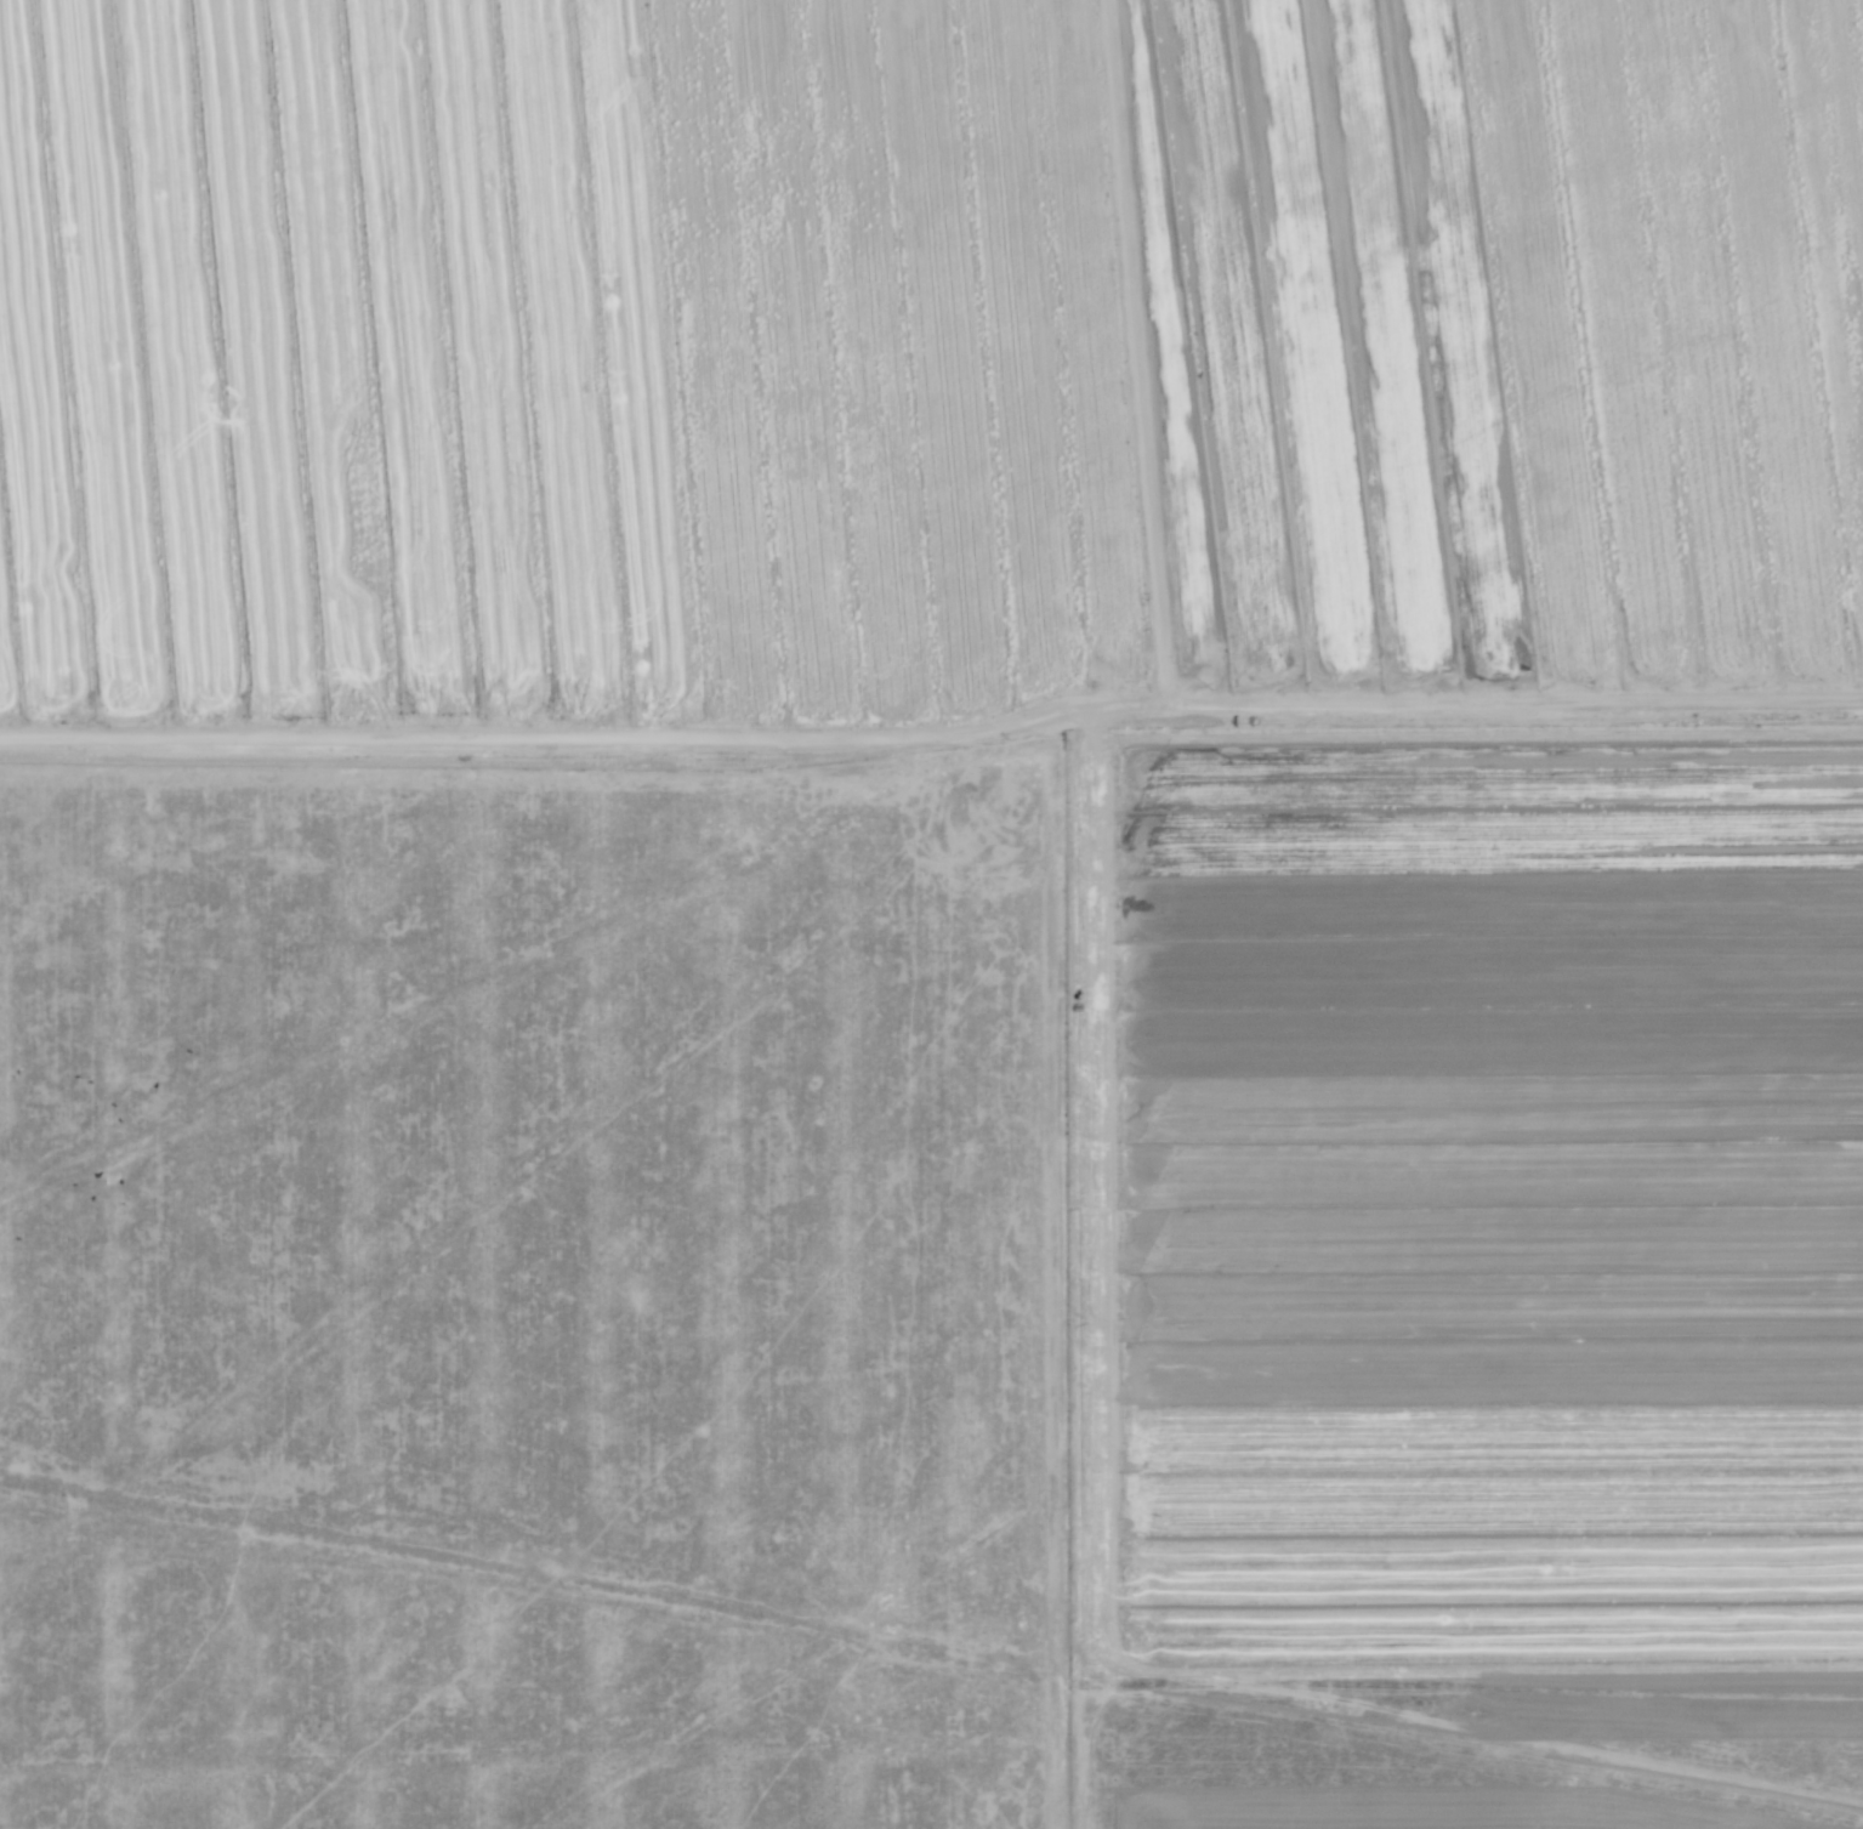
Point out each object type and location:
road: (936, 750)
road: (534, 1579)

